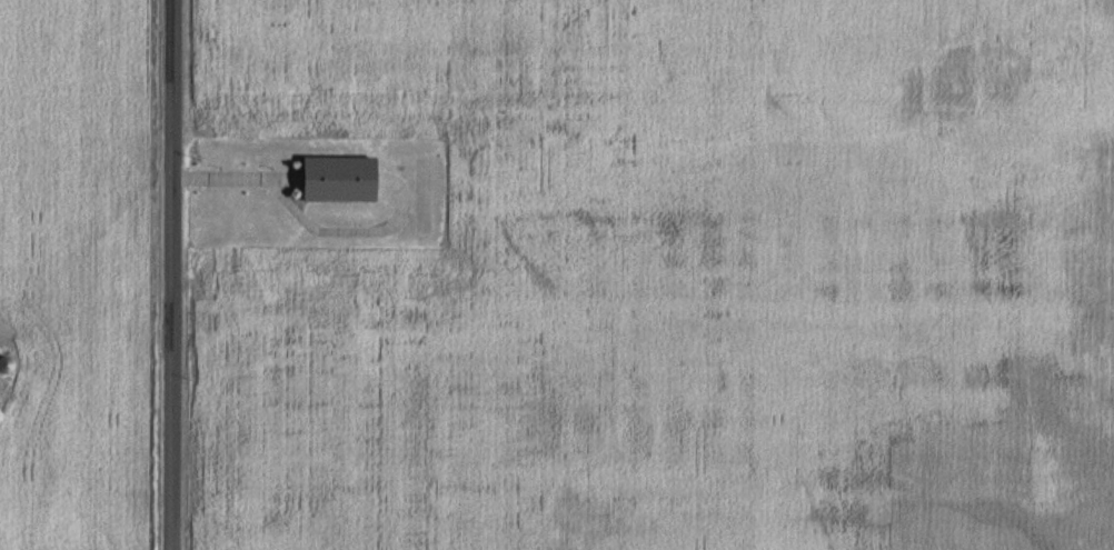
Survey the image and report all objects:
building: (341, 177)
road: (169, 274)
building: (4, 363)

